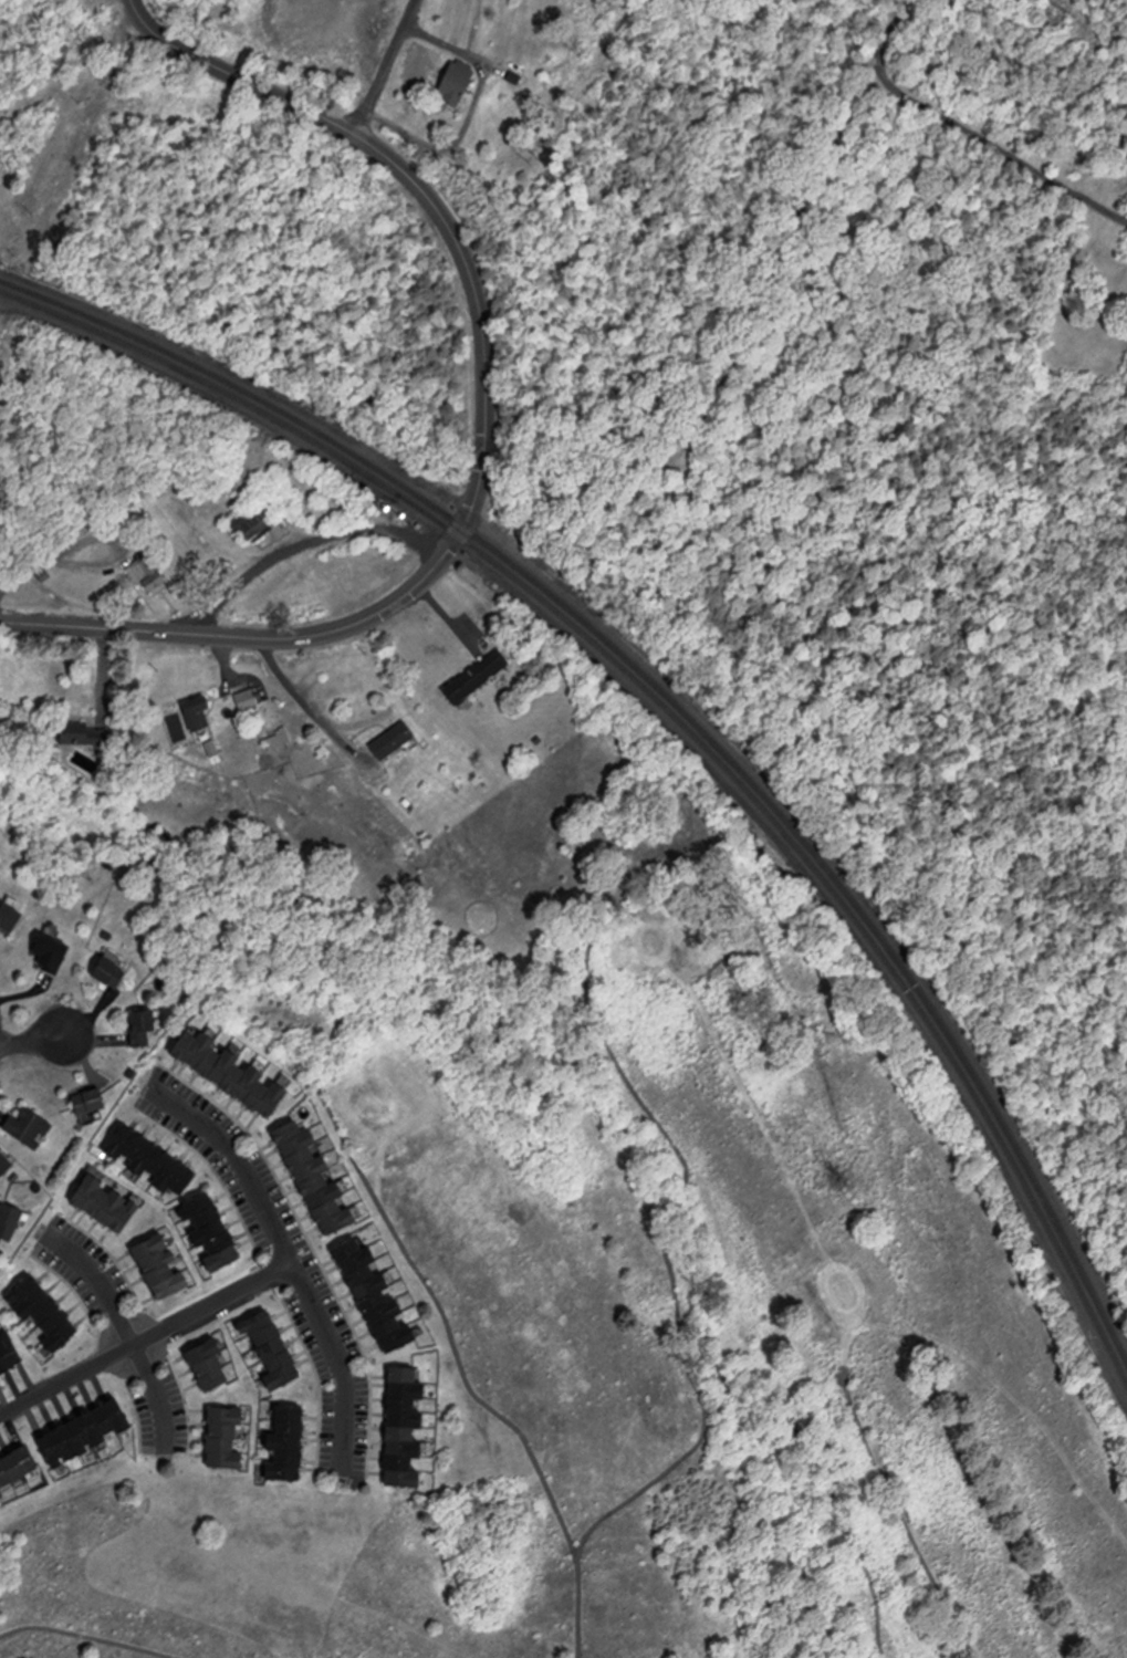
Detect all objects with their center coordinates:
road: (896, 21)
road: (386, 66)
building: (459, 86)
road: (989, 142)
road: (488, 430)
building: (257, 519)
road: (306, 542)
building: (149, 575)
building: (479, 676)
railway: (675, 699)
building: (249, 701)
building: (200, 712)
railway: (677, 713)
building: (86, 734)
building: (395, 741)
building: (10, 918)
building: (51, 958)
building: (112, 972)
building: (145, 1028)
road: (34, 1042)
building: (234, 1075)
building: (91, 1102)
building: (30, 1127)
building: (155, 1160)
building: (6, 1165)
road: (240, 1165)
building: (317, 1178)
building: (107, 1205)
building: (11, 1221)
building: (213, 1233)
building: (161, 1268)
road: (102, 1276)
building: (376, 1295)
building: (44, 1311)
park: (672, 1323)
road: (147, 1337)
building: (273, 1348)
building: (9, 1354)
building: (209, 1364)
road: (343, 1366)
road: (159, 1398)
building: (406, 1428)
building: (87, 1431)
building: (226, 1438)
building: (289, 1441)
building: (18, 1467)

